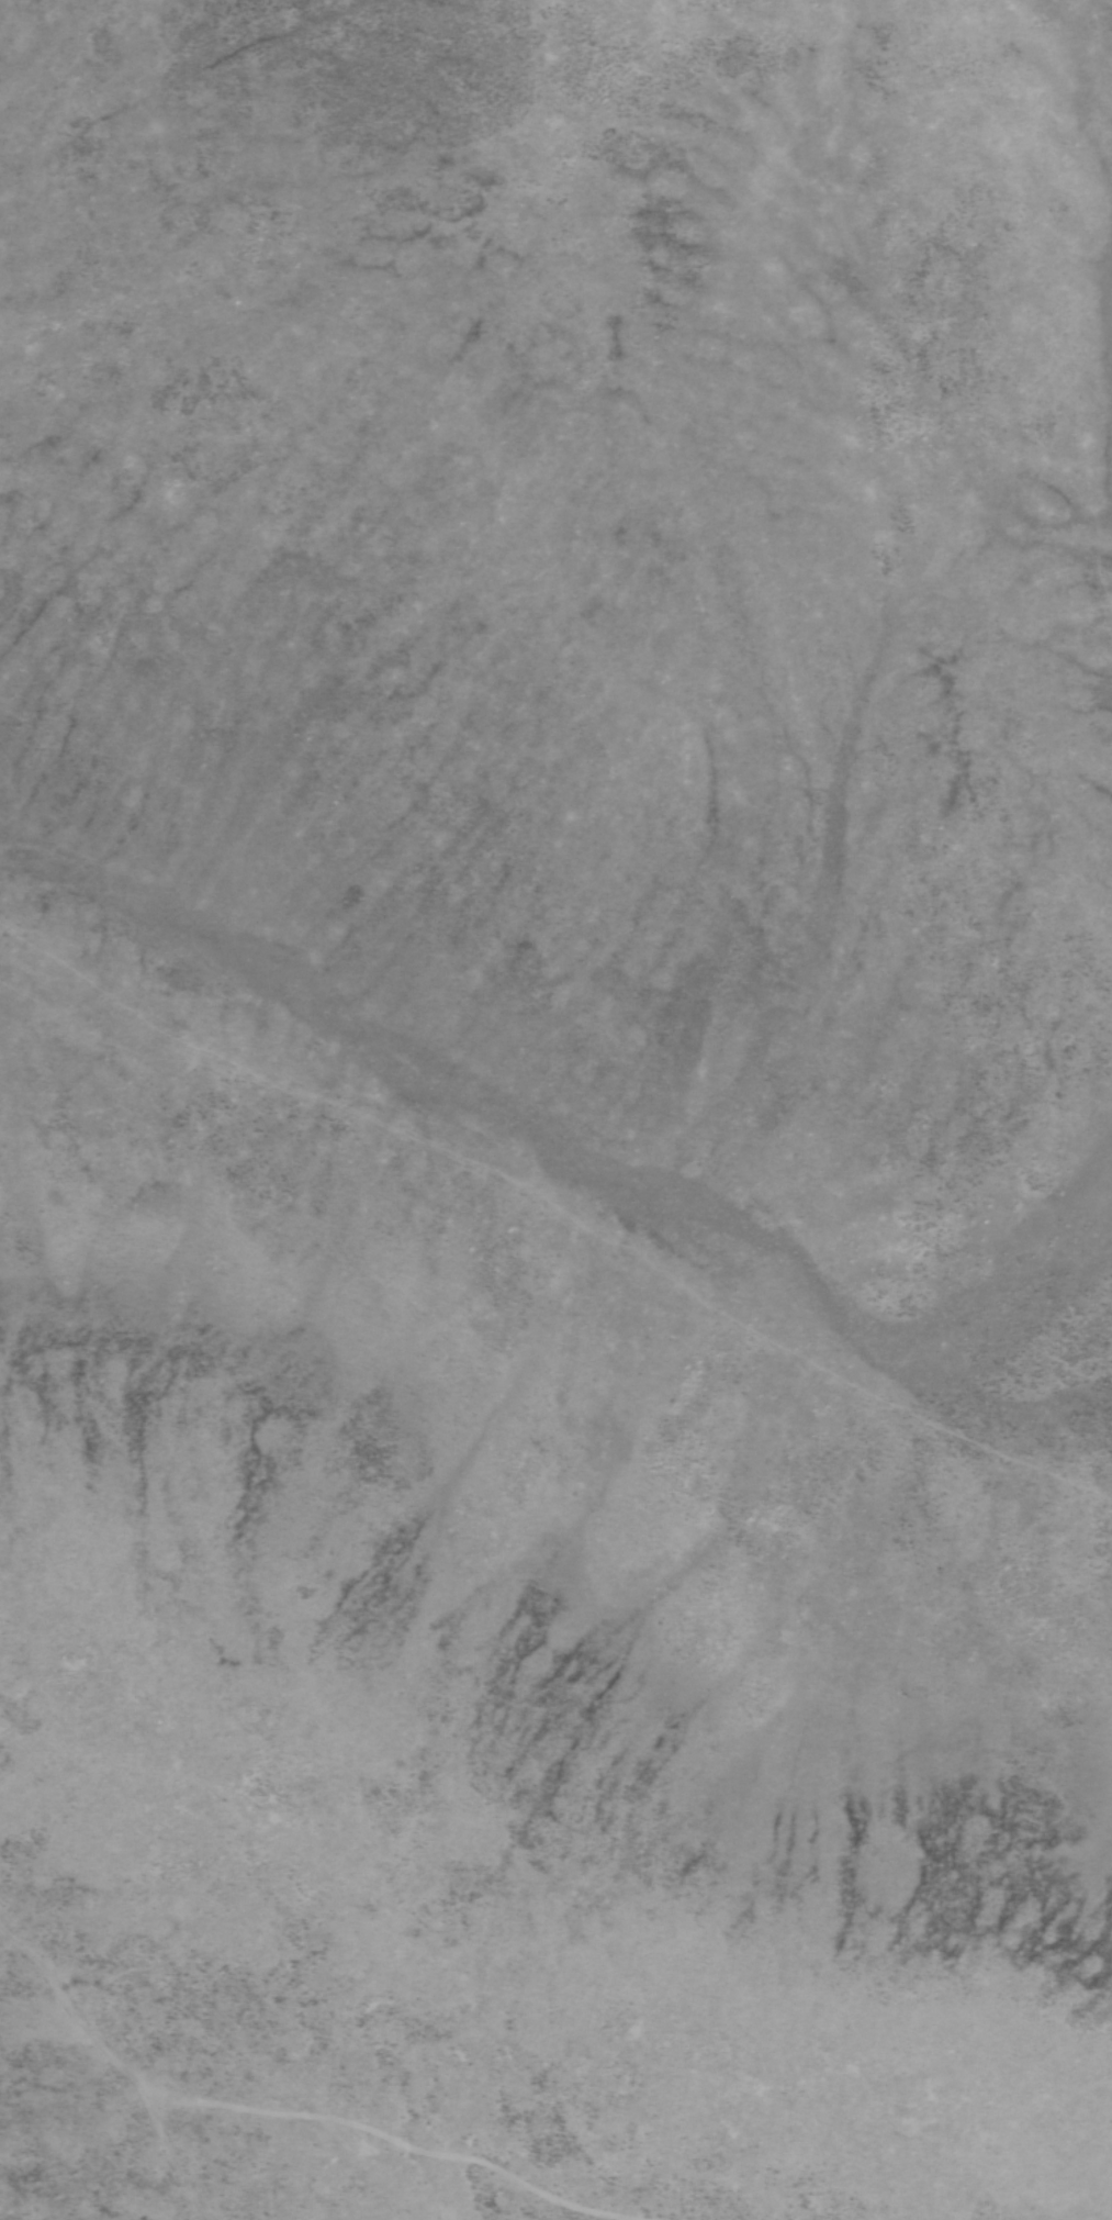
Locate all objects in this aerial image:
road: (116, 2063)
road: (396, 2139)

